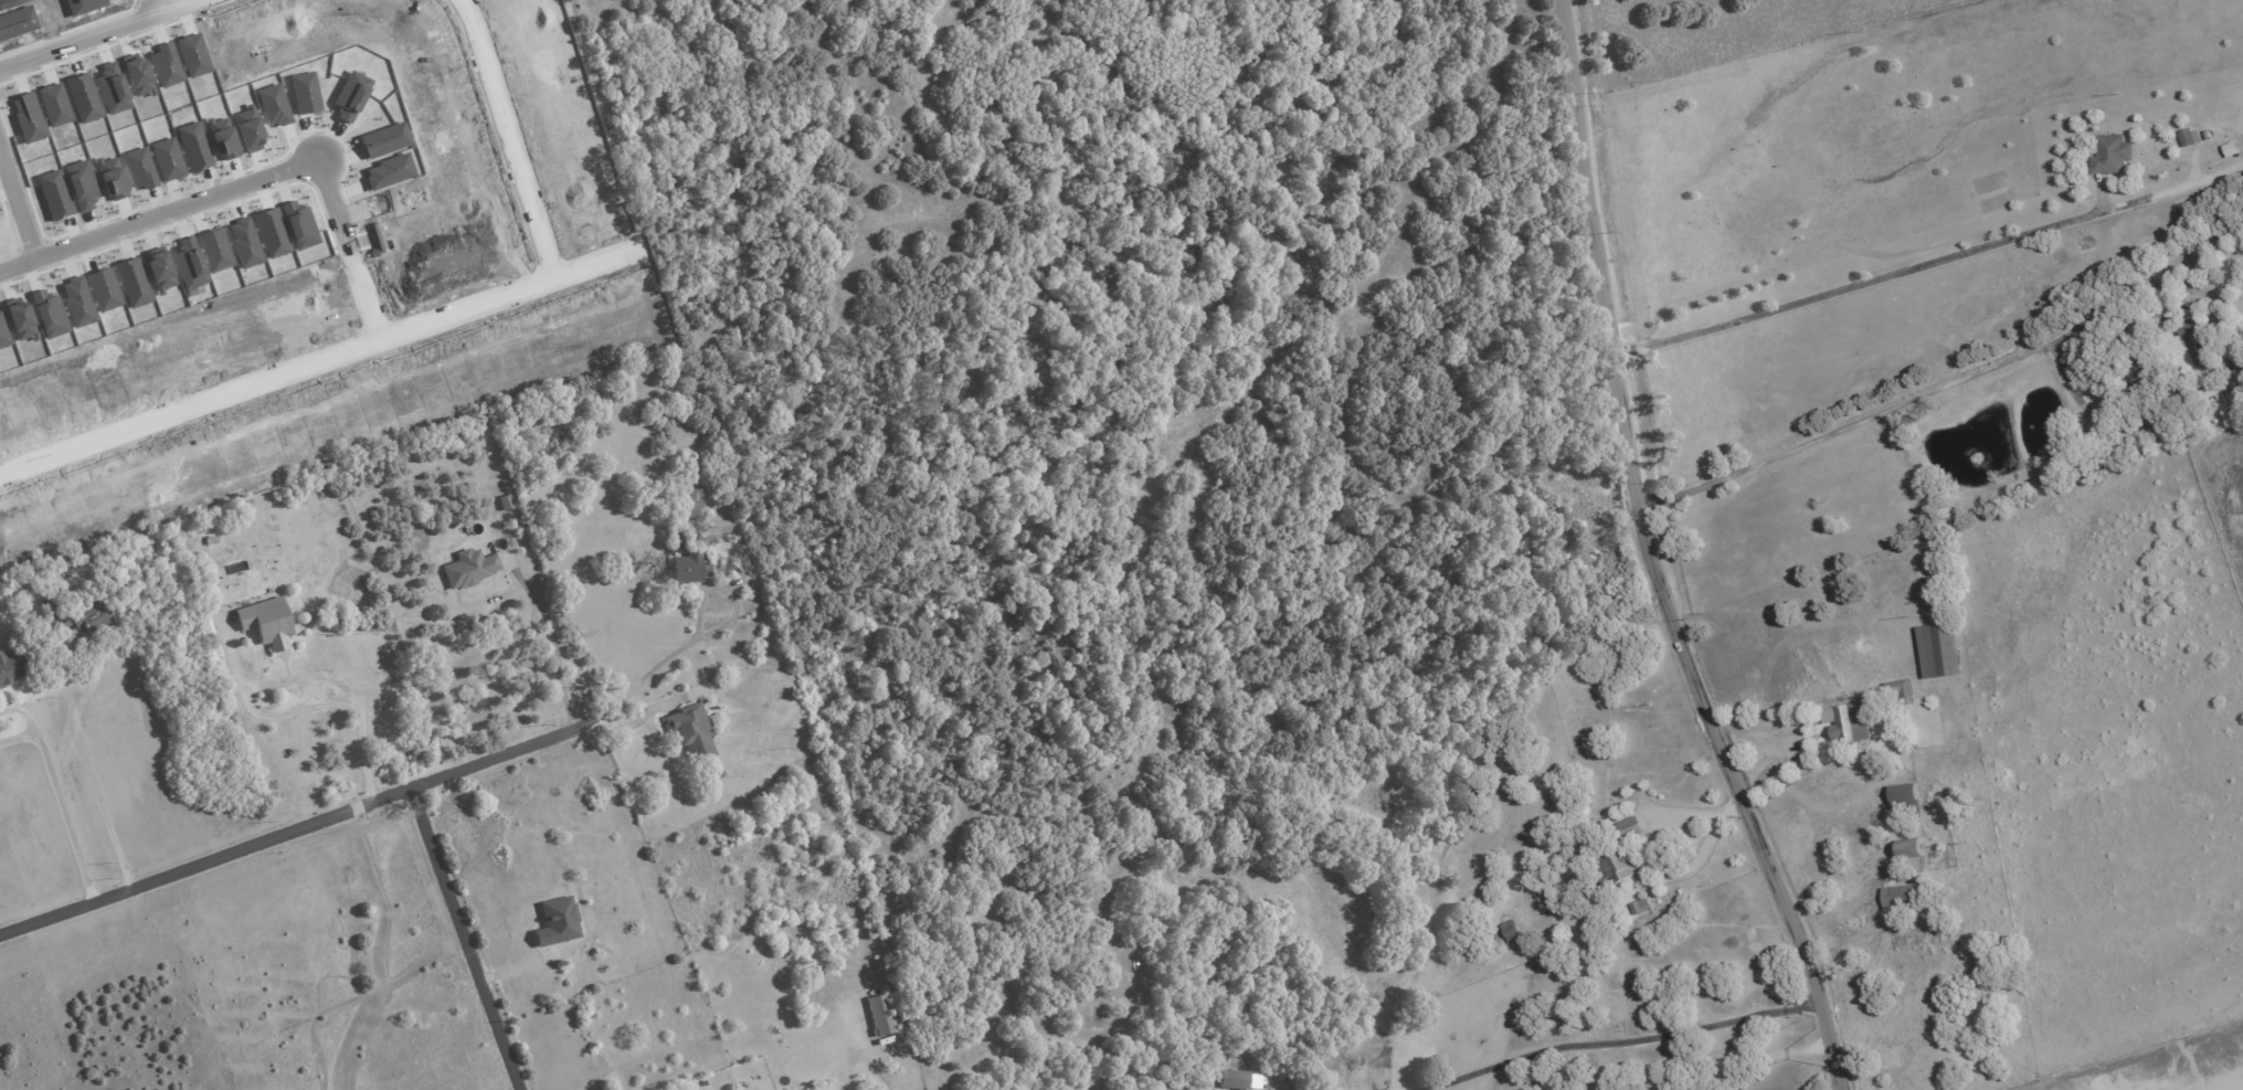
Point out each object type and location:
road: (147, 6)
road: (91, 32)
road: (500, 138)
building: (2112, 155)
road: (247, 179)
road: (18, 202)
road: (1856, 285)
road: (680, 298)
road: (310, 362)
road: (1892, 408)
building: (691, 504)
road: (1652, 558)
building: (469, 568)
building: (686, 569)
building: (265, 622)
road: (700, 635)
road: (552, 644)
building: (1938, 649)
building: (11, 668)
road: (320, 678)
building: (1901, 692)
road: (290, 711)
building: (1847, 721)
building: (690, 732)
road: (97, 773)
building: (1904, 797)
road: (63, 813)
building: (1629, 827)
road: (298, 830)
road: (1657, 835)
building: (1908, 848)
building: (1618, 866)
building: (1901, 896)
building: (1639, 906)
building: (557, 922)
building: (1511, 930)
road: (467, 940)
building: (880, 1015)
road: (1619, 1038)
road: (1744, 1060)
road: (880, 1073)
building: (1232, 1079)

